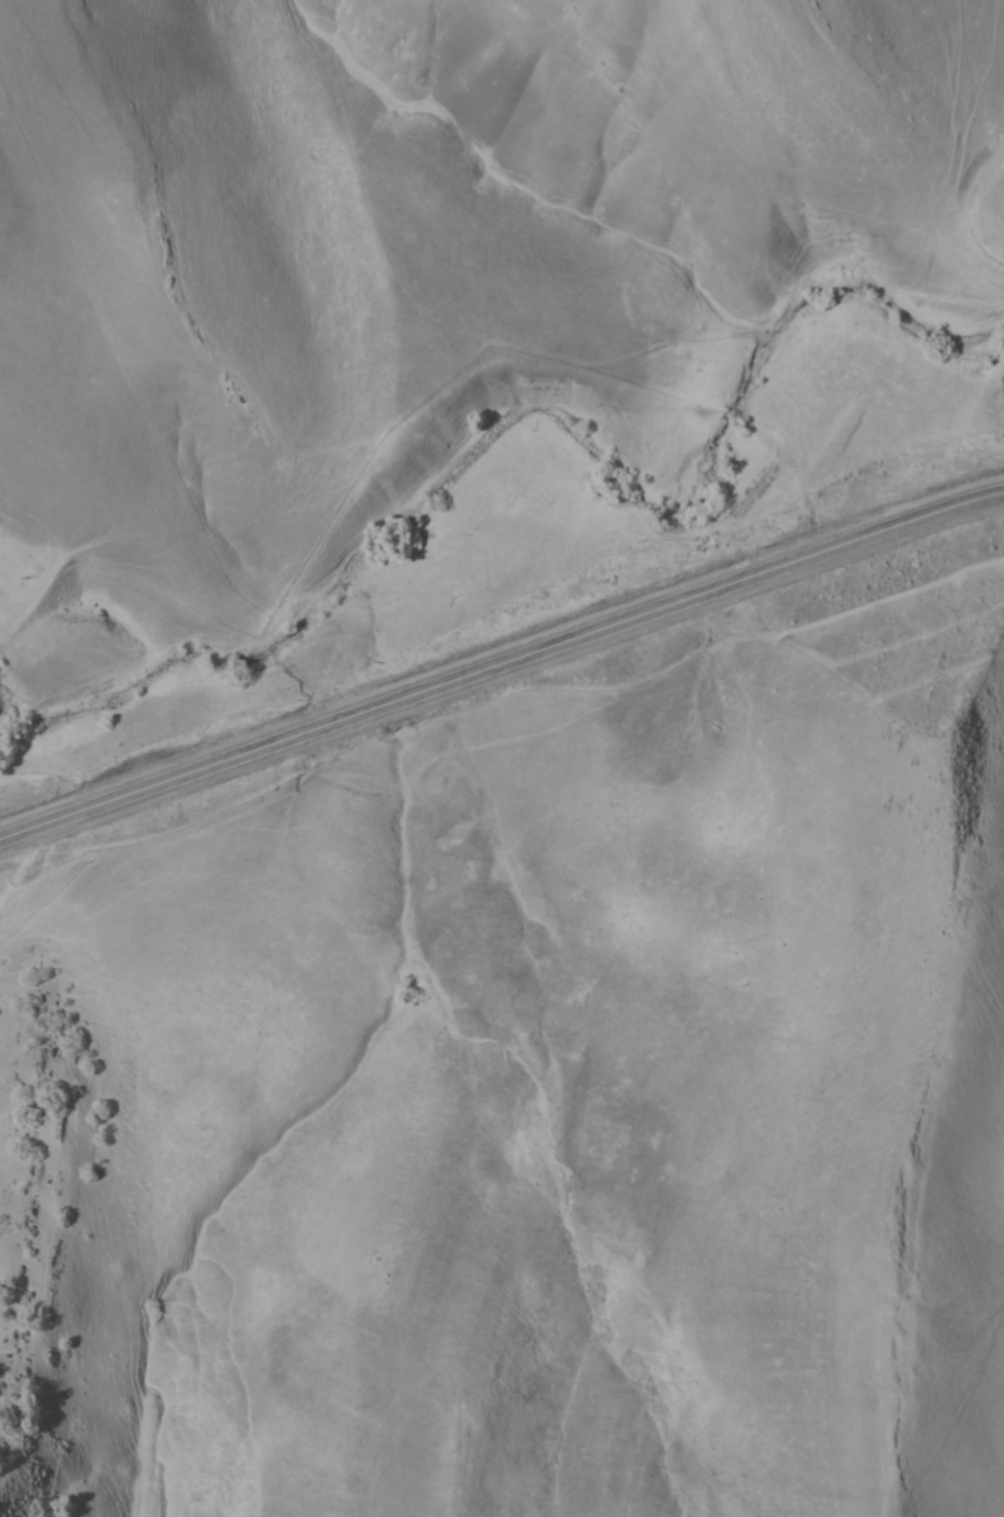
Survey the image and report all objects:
road: (970, 210)
road: (501, 641)

